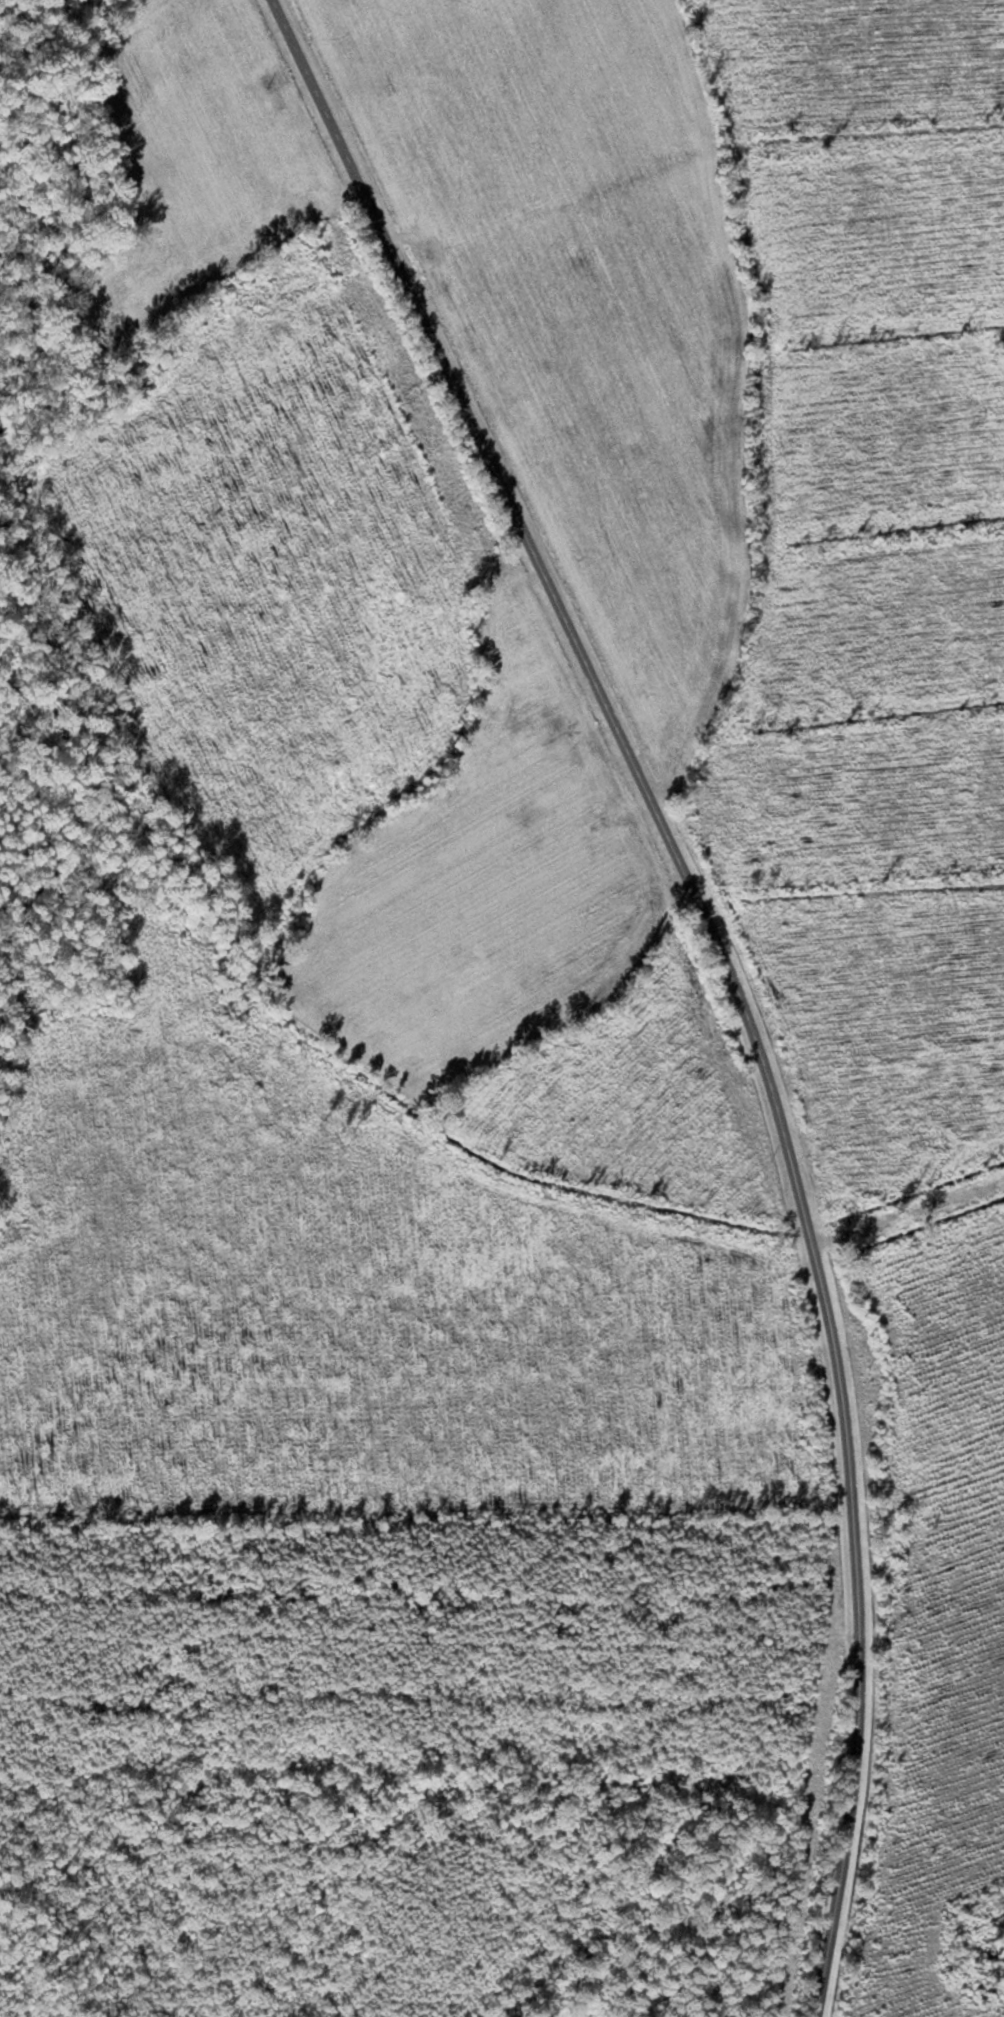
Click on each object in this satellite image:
road: (729, 968)
road: (914, 1223)

